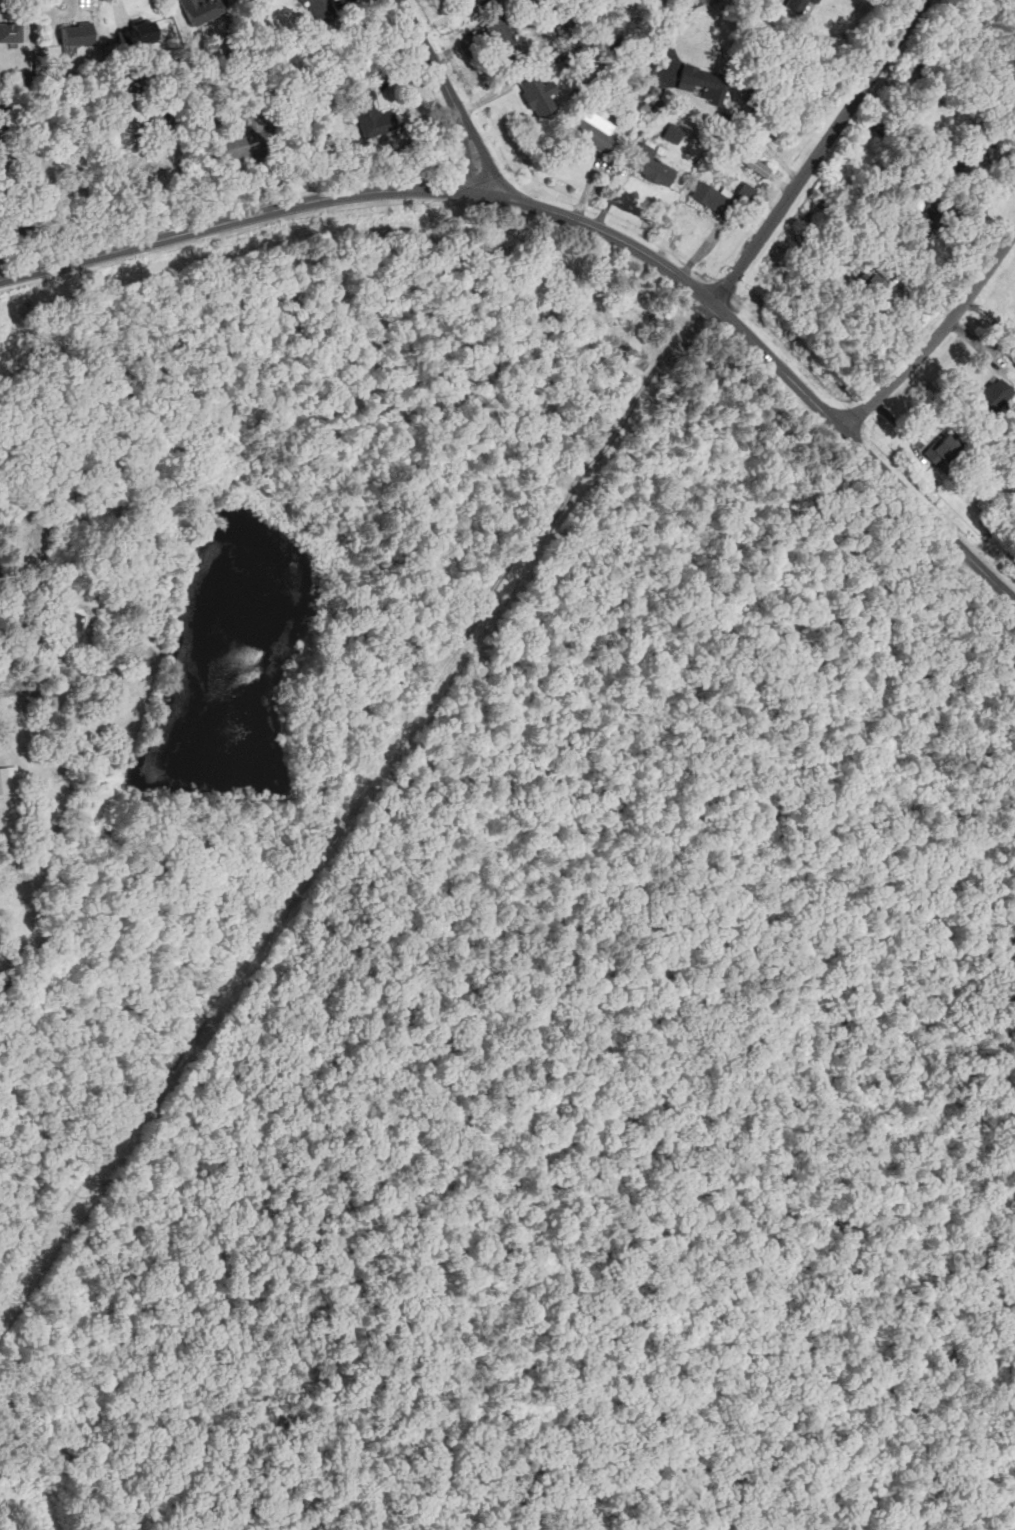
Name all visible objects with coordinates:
building: (480, 1)
building: (801, 6)
building: (322, 10)
building: (197, 11)
building: (10, 32)
building: (137, 34)
building: (77, 35)
building: (503, 41)
building: (702, 83)
road: (449, 93)
building: (534, 96)
building: (368, 113)
building: (593, 131)
building: (672, 134)
building: (234, 146)
road: (820, 151)
building: (973, 156)
building: (650, 165)
building: (757, 168)
building: (746, 192)
building: (711, 199)
road: (573, 217)
building: (926, 222)
building: (884, 267)
building: (871, 288)
road: (936, 337)
building: (992, 397)
building: (940, 450)
building: (71, 625)
building: (8, 779)
road: (209, 1349)

